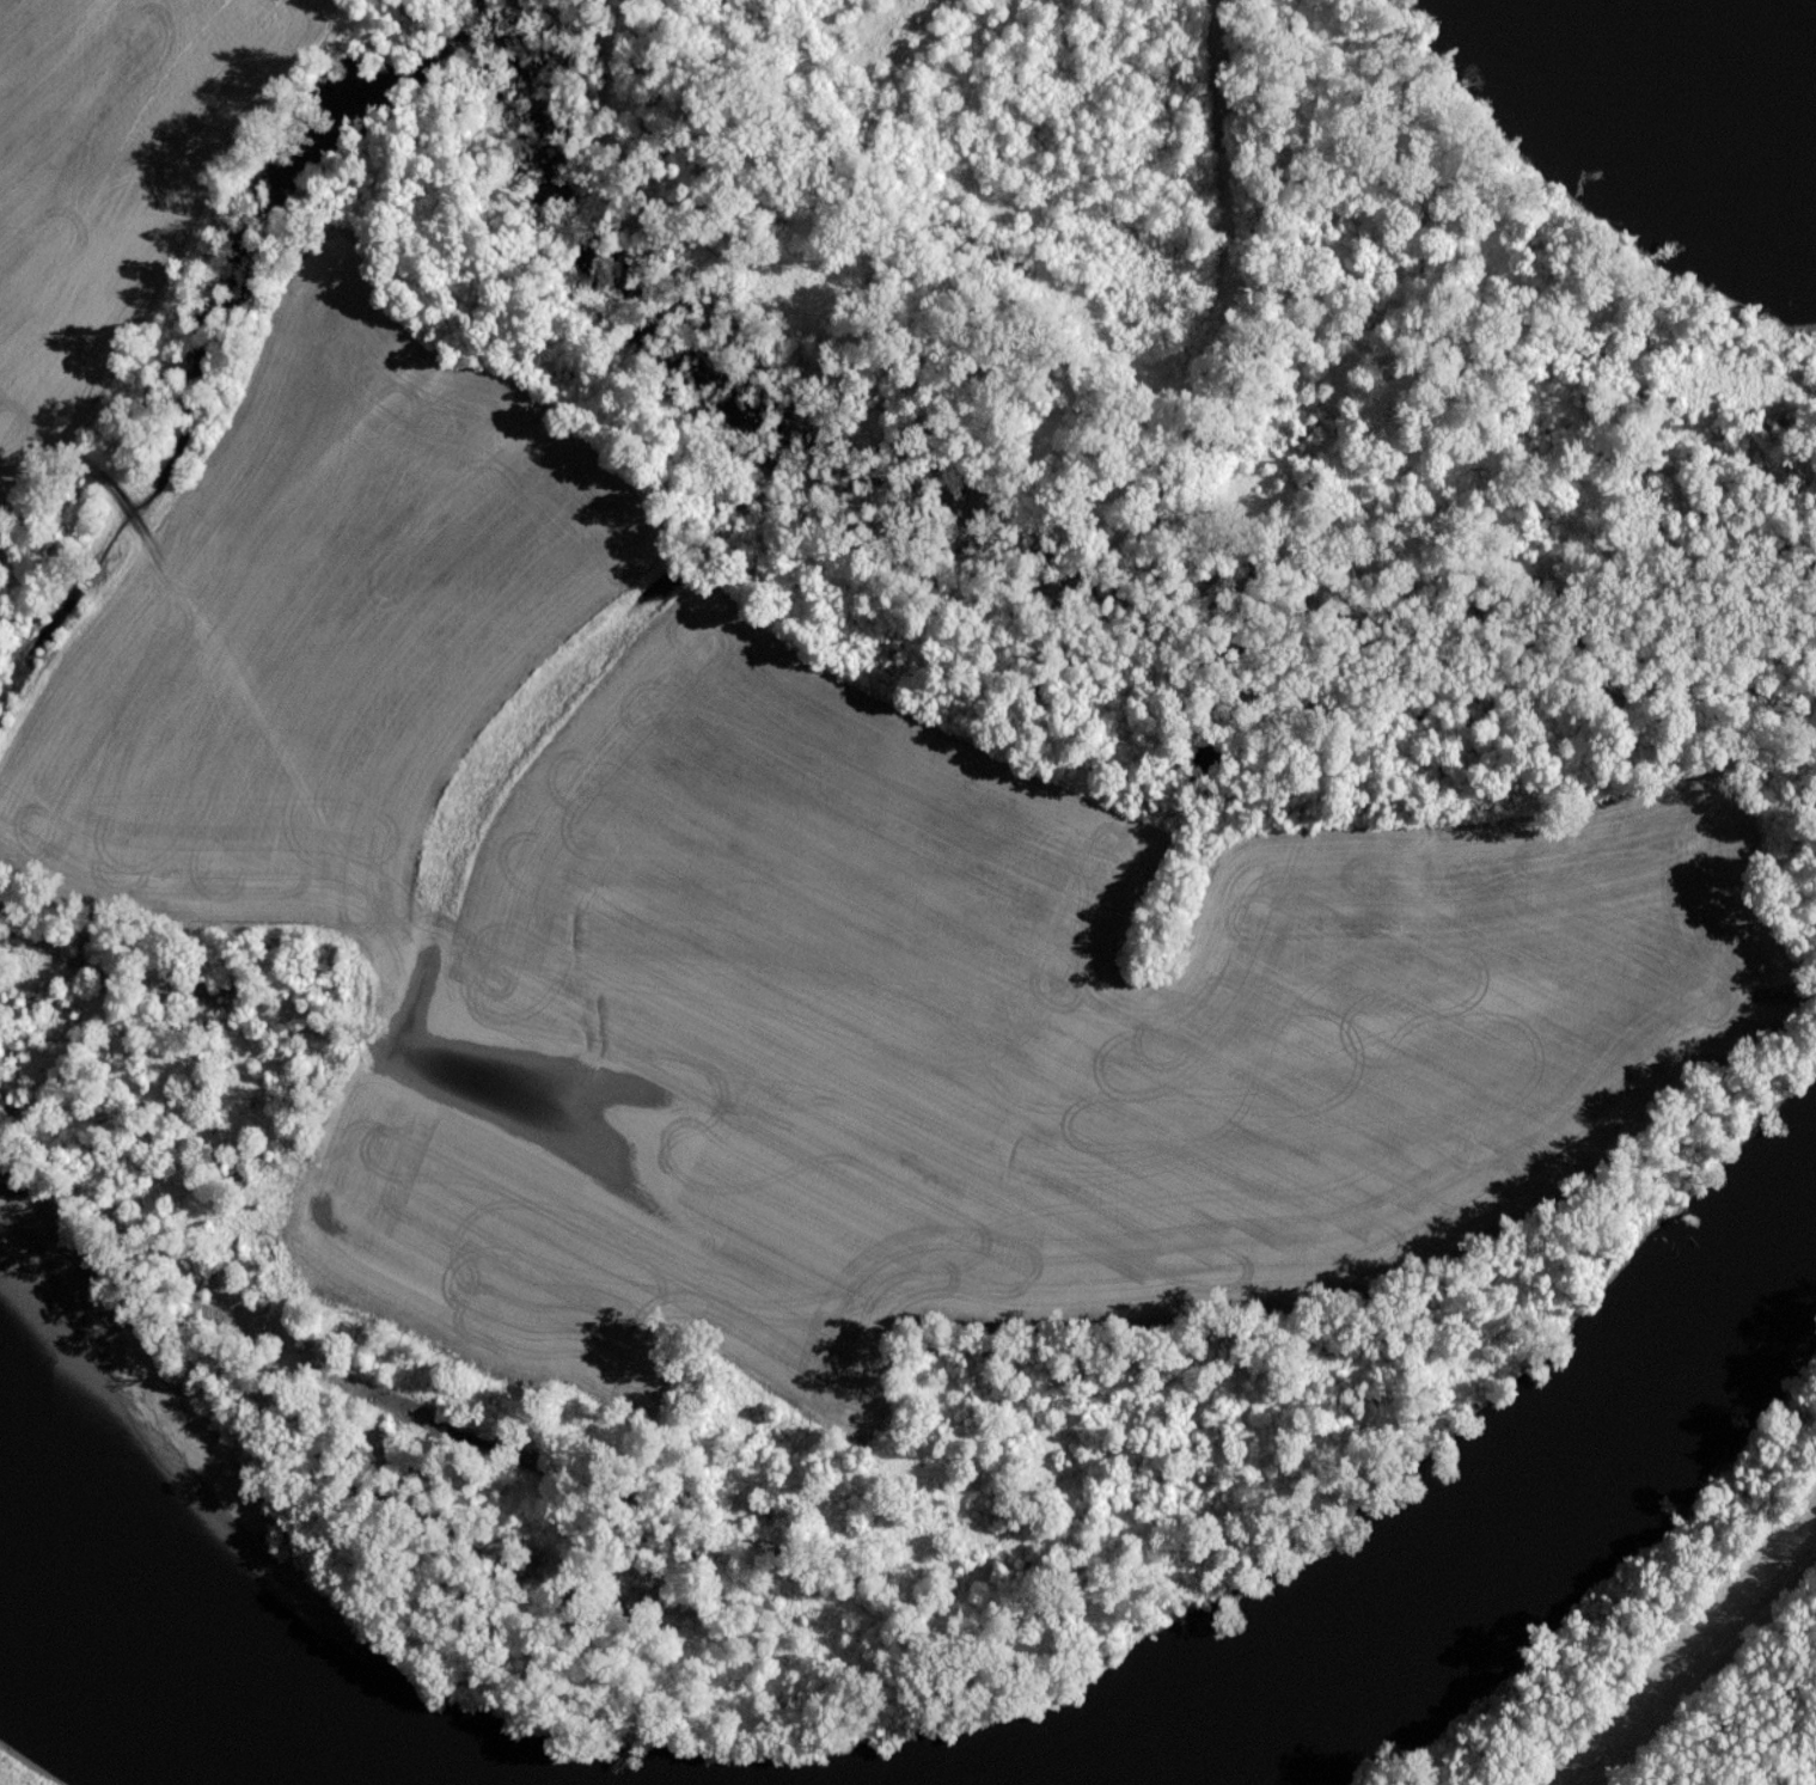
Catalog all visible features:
river: (1713, 90)
road: (93, 477)
river: (1496, 1541)
river: (159, 1595)

